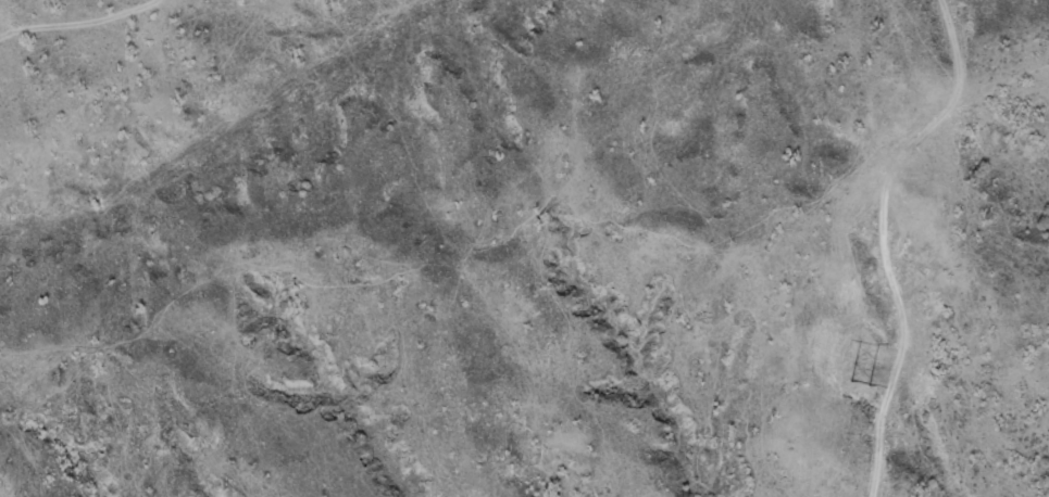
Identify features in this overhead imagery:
power tower: (861, 383)

